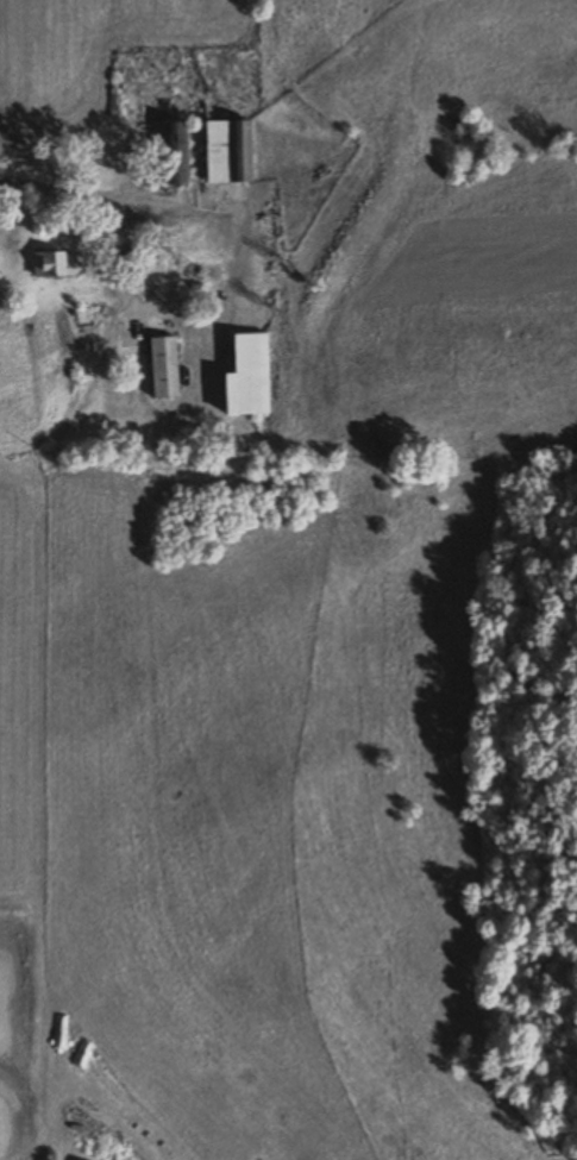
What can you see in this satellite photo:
building: (226, 151)
building: (171, 152)
road: (61, 188)
building: (55, 263)
building: (162, 366)
building: (240, 378)

